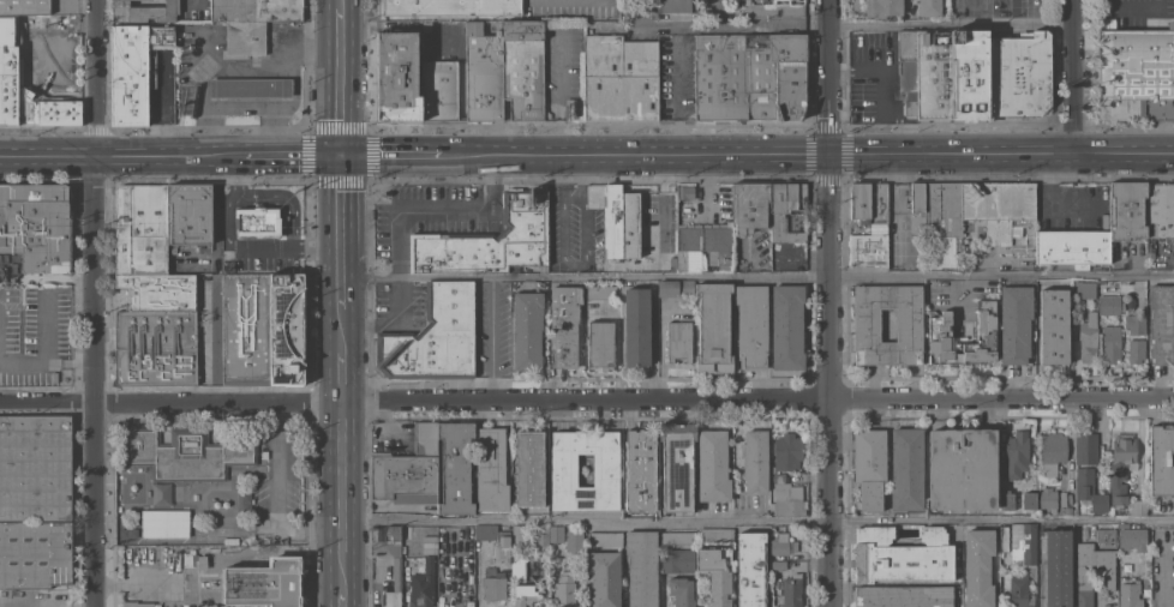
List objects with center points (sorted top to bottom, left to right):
building: (634, 1)
building: (711, 2)
road: (342, 4)
building: (673, 5)
building: (451, 6)
building: (882, 7)
building: (929, 7)
building: (773, 8)
building: (256, 10)
building: (144, 11)
road: (751, 22)
road: (952, 24)
road: (59, 30)
building: (245, 37)
road: (290, 48)
road: (216, 64)
building: (133, 68)
building: (523, 68)
gas station: (238, 70)
building: (908, 71)
building: (1136, 72)
building: (26, 74)
building: (484, 74)
building: (1018, 74)
building: (749, 76)
road: (831, 76)
building: (951, 76)
road: (1076, 76)
building: (397, 77)
building: (619, 78)
road: (341, 80)
road: (892, 80)
building: (251, 88)
road: (272, 88)
road: (676, 88)
building: (439, 91)
road: (272, 102)
road: (239, 108)
building: (574, 109)
road: (1001, 152)
traffic signals: (831, 154)
road: (295, 155)
traffic signals: (341, 155)
road: (393, 155)
road: (637, 155)
road: (125, 156)
road: (707, 181)
building: (685, 192)
road: (215, 193)
road: (898, 196)
road: (282, 198)
building: (868, 203)
building: (749, 206)
building: (917, 208)
road: (437, 209)
building: (786, 210)
building: (1001, 210)
building: (1160, 210)
building: (942, 211)
building: (1127, 211)
building: (258, 221)
building: (619, 222)
building: (36, 227)
road: (341, 232)
building: (489, 240)
road: (239, 245)
building: (1072, 246)
building: (703, 247)
building: (869, 248)
road: (756, 275)
building: (156, 282)
building: (676, 288)
building: (1084, 289)
building: (600, 292)
building: (492, 296)
building: (1113, 298)
road: (959, 299)
road: (94, 302)
building: (1014, 323)
building: (1162, 323)
road: (390, 324)
building: (909, 324)
building: (564, 325)
building: (939, 325)
building: (636, 326)
building: (751, 326)
building: (1053, 326)
building: (713, 327)
building: (786, 327)
building: (263, 329)
road: (341, 330)
building: (527, 330)
building: (432, 336)
building: (1142, 337)
building: (1088, 338)
road: (215, 341)
building: (490, 341)
building: (679, 341)
building: (1110, 343)
building: (600, 344)
road: (341, 377)
road: (832, 379)
road: (586, 398)
building: (425, 438)
building: (1086, 449)
building: (188, 451)
building: (1053, 451)
building: (1016, 453)
building: (785, 455)
building: (755, 459)
building: (1162, 459)
building: (677, 464)
building: (713, 465)
building: (1121, 465)
building: (35, 467)
building: (455, 467)
building: (528, 467)
building: (869, 467)
building: (563, 469)
building: (640, 469)
building: (906, 469)
building: (962, 469)
building: (491, 471)
building: (403, 479)
building: (772, 483)
building: (1089, 491)
road: (277, 494)
building: (1047, 498)
building: (1062, 498)
building: (787, 499)
building: (1006, 500)
building: (1029, 500)
road: (341, 504)
building: (1138, 506)
road: (1002, 517)
road: (586, 519)
building: (164, 523)
building: (1122, 524)
building: (393, 531)
building: (127, 533)
building: (556, 533)
building: (715, 534)
building: (517, 535)
building: (1106, 535)
building: (539, 537)
building: (605, 537)
building: (677, 537)
building: (1004, 537)
building: (1132, 539)
building: (495, 540)
building: (227, 541)
building: (574, 541)
building: (784, 542)
building: (1023, 542)
building: (394, 547)
building: (900, 554)
building: (35, 557)
building: (677, 560)
building: (202, 561)
road: (1166, 563)
building: (778, 565)
building: (977, 566)
building: (519, 567)
building: (641, 567)
building: (1056, 567)
building: (1126, 567)
building: (750, 569)
building: (715, 573)
building: (1107, 573)
building: (604, 578)
building: (264, 583)
power substation: (264, 583)
building: (492, 583)
building: (423, 584)
building: (395, 585)
building: (1136, 589)
building: (564, 590)
building: (681, 590)
building: (786, 590)
building: (1019, 590)
building: (523, 594)
building: (903, 596)
building: (137, 603)

